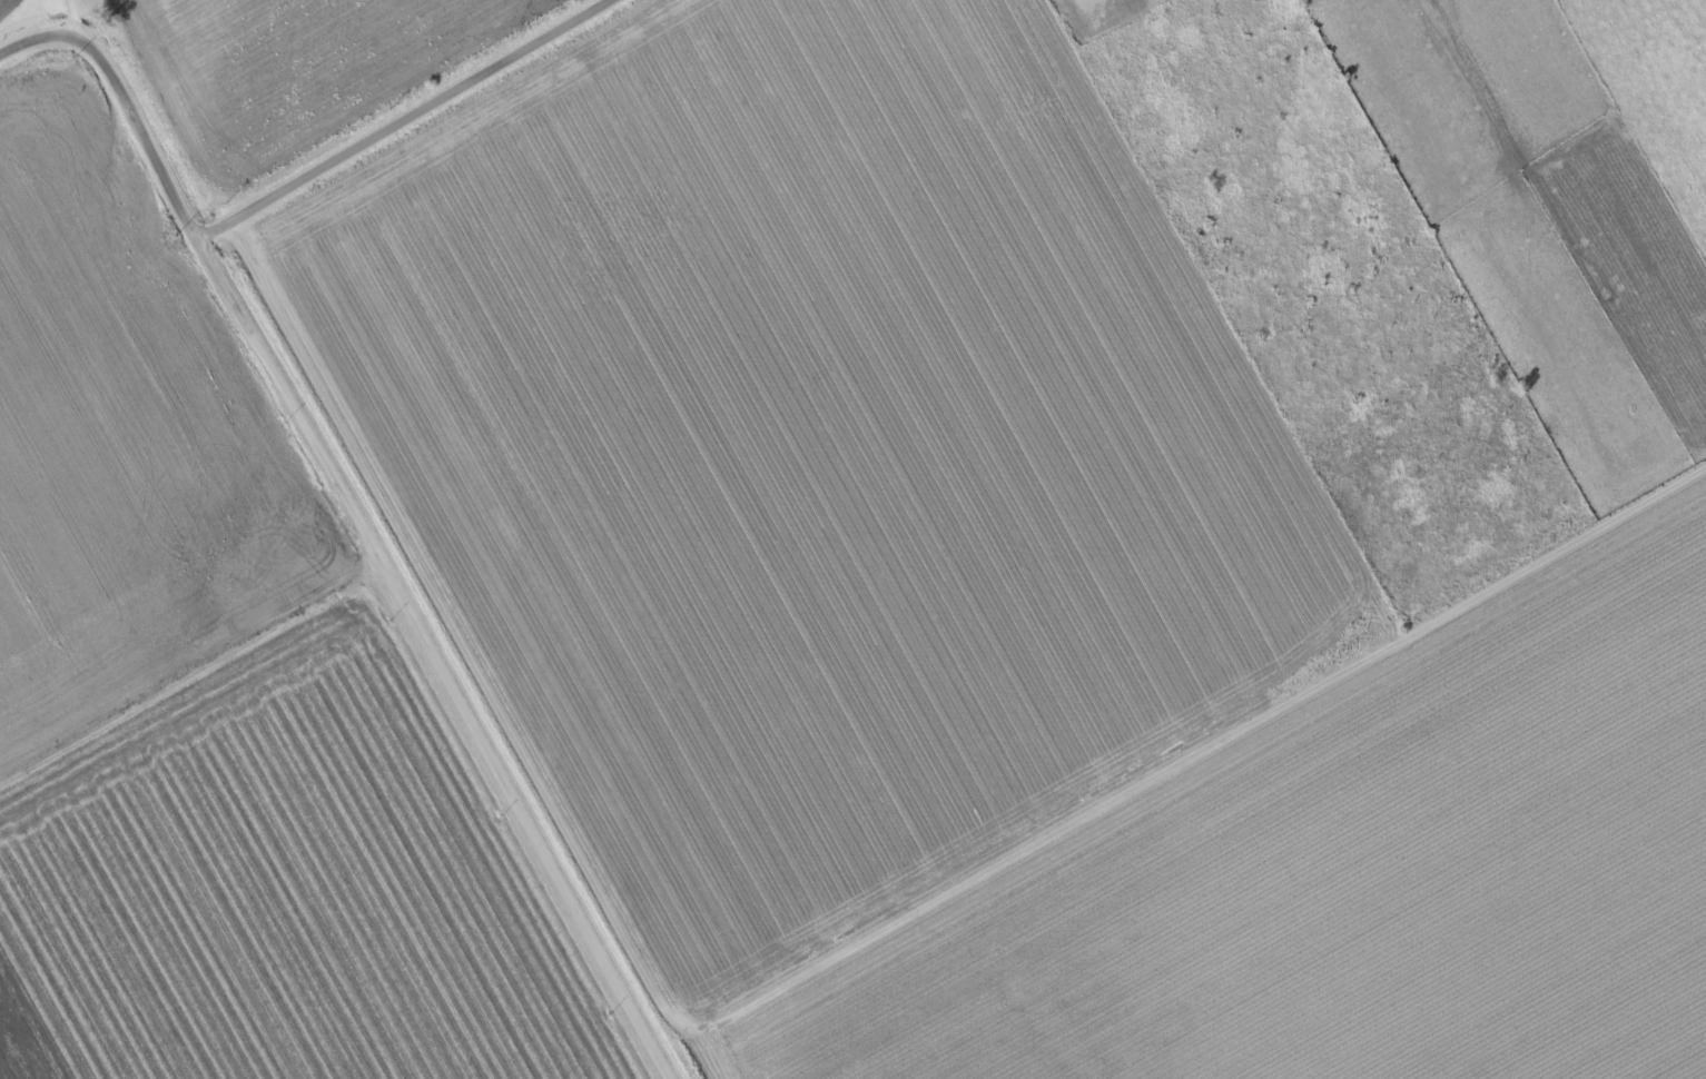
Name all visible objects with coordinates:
road: (81, 10)
road: (45, 37)
road: (404, 119)
road: (378, 551)

